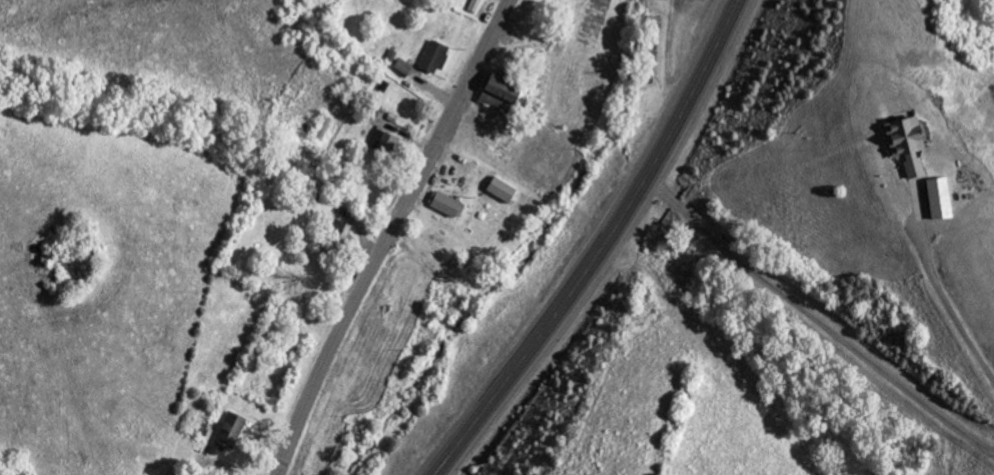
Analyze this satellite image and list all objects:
building: (472, 5)
building: (431, 55)
building: (400, 66)
building: (496, 85)
building: (490, 99)
building: (381, 140)
building: (903, 141)
building: (499, 187)
building: (937, 196)
building: (445, 203)
building: (921, 212)
road: (387, 235)
road: (602, 247)
building: (226, 431)

